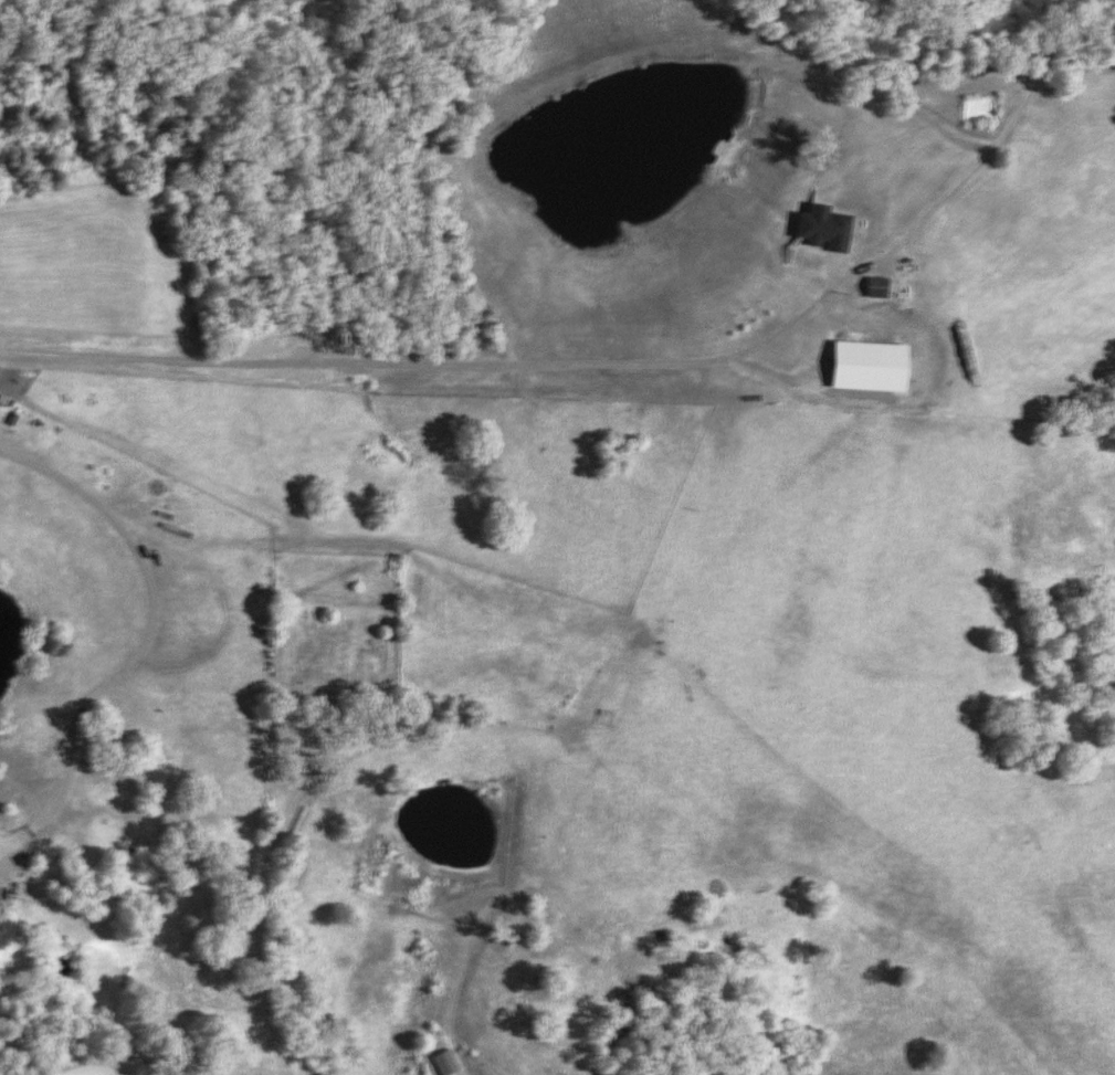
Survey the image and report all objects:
road: (430, 362)
road: (141, 641)
building: (443, 1063)
road: (85, 1069)

